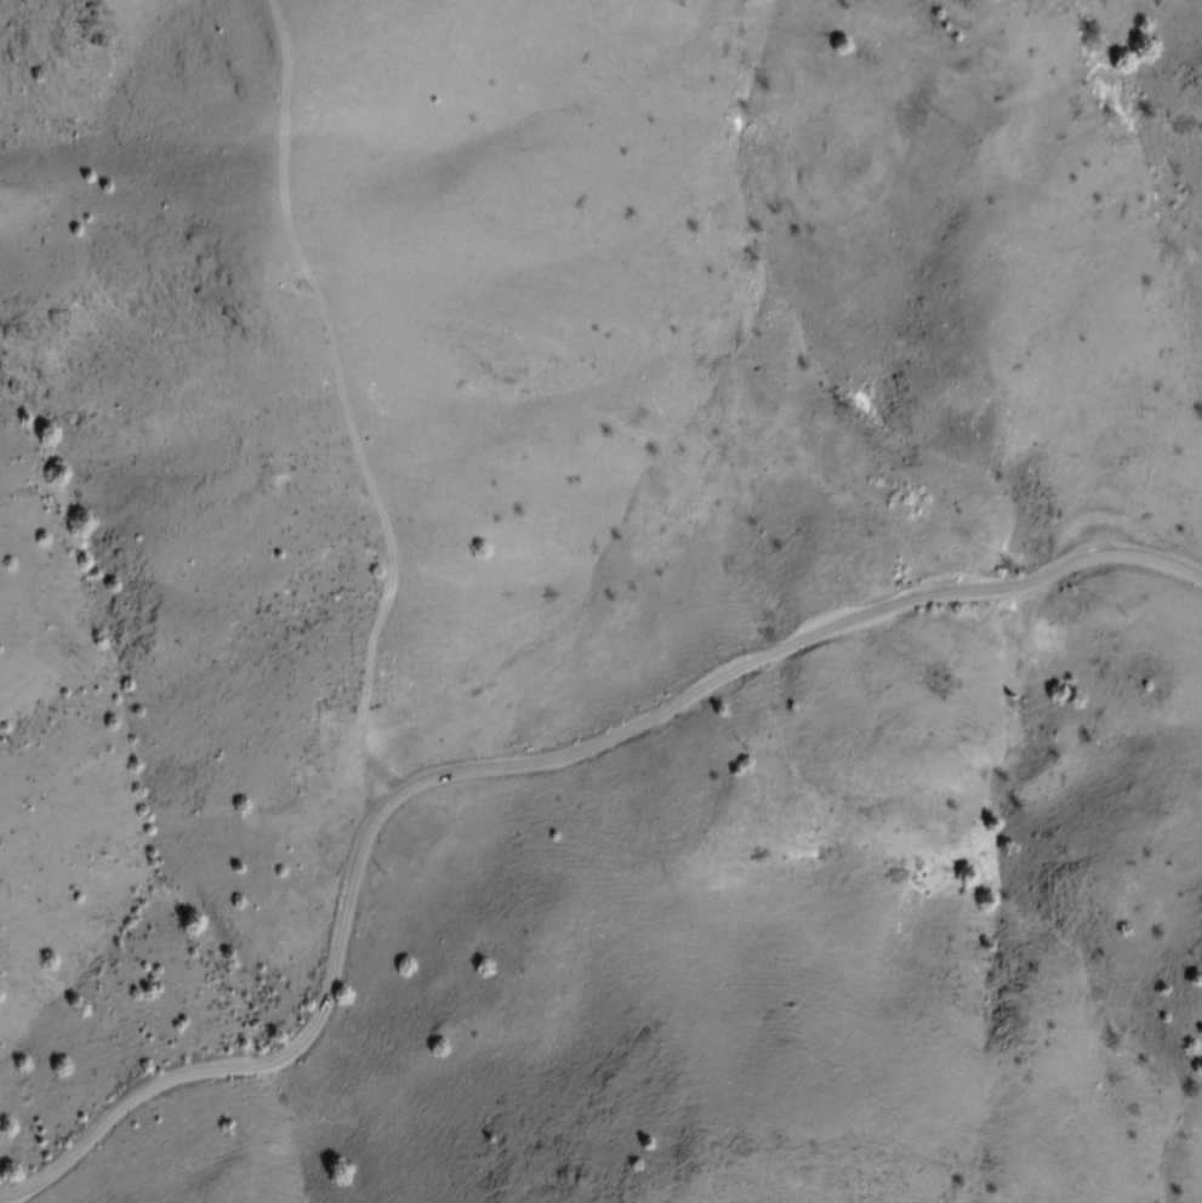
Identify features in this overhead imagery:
road: (344, 405)
road: (512, 763)

